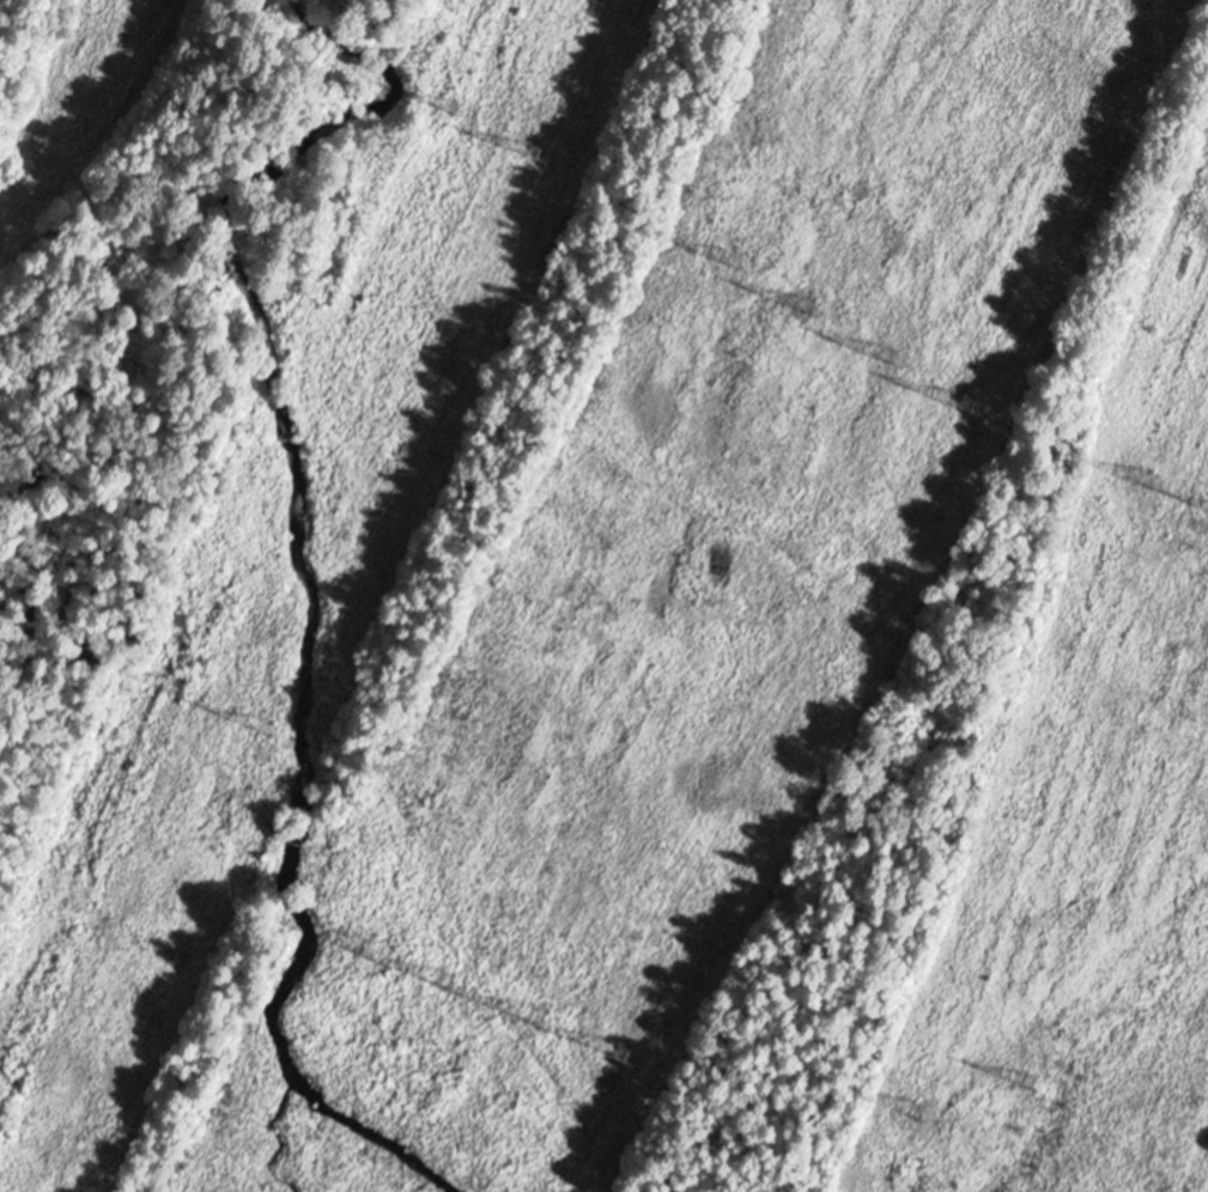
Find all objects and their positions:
power tower: (449, 107)
power tower: (532, 153)
power tower: (718, 255)
power tower: (801, 305)
power tower: (890, 382)
power tower: (969, 406)
power tower: (1141, 479)
power tower: (176, 688)
power tower: (262, 725)
power tower: (351, 945)
power tower: (442, 980)
power tower: (535, 1044)
power tower: (624, 1051)
power tower: (1028, 1084)
power tower: (911, 1111)

